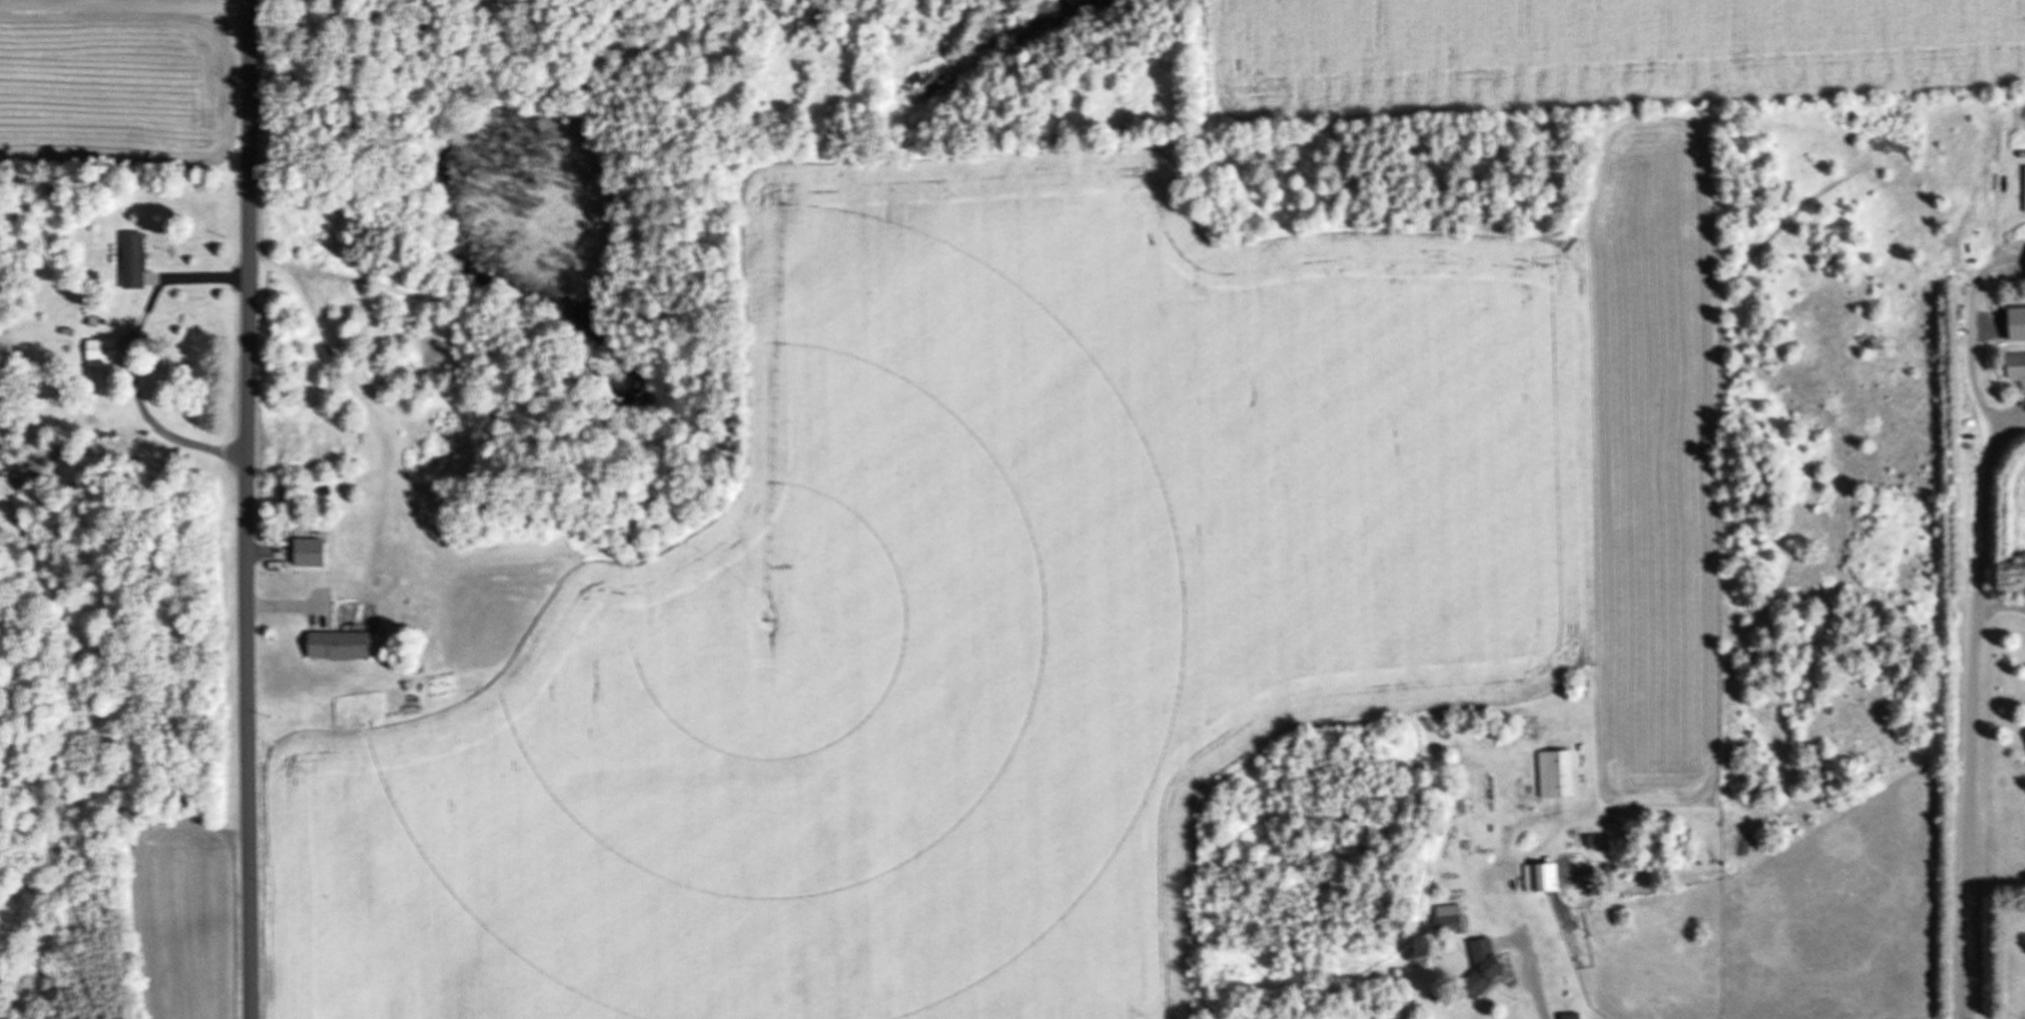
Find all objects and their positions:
building: (131, 260)
building: (99, 352)
building: (2014, 364)
road: (249, 509)
building: (336, 644)
building: (2023, 736)
building: (1553, 774)
building: (1538, 877)
building: (1446, 924)
building: (1479, 967)
building: (1568, 1016)

